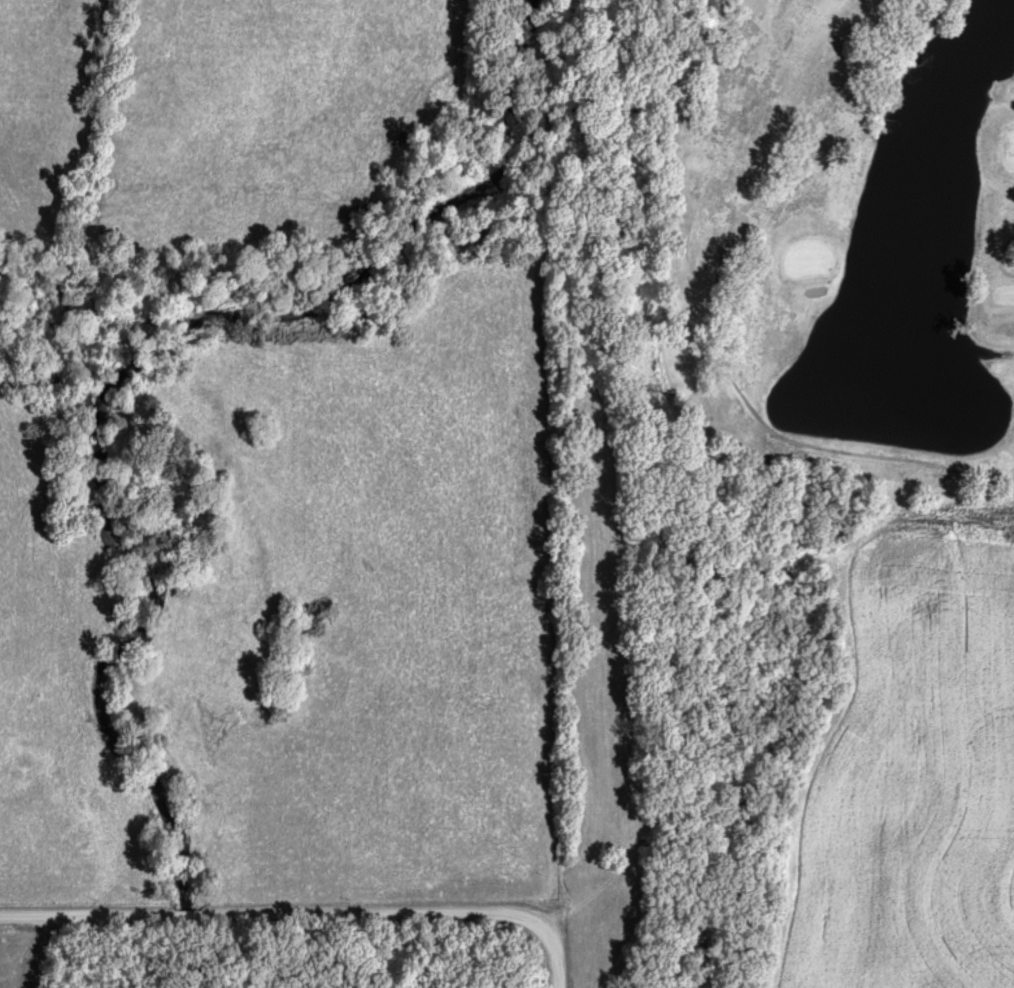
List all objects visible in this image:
park: (844, 247)
road: (1000, 253)
road: (837, 448)
road: (306, 913)

